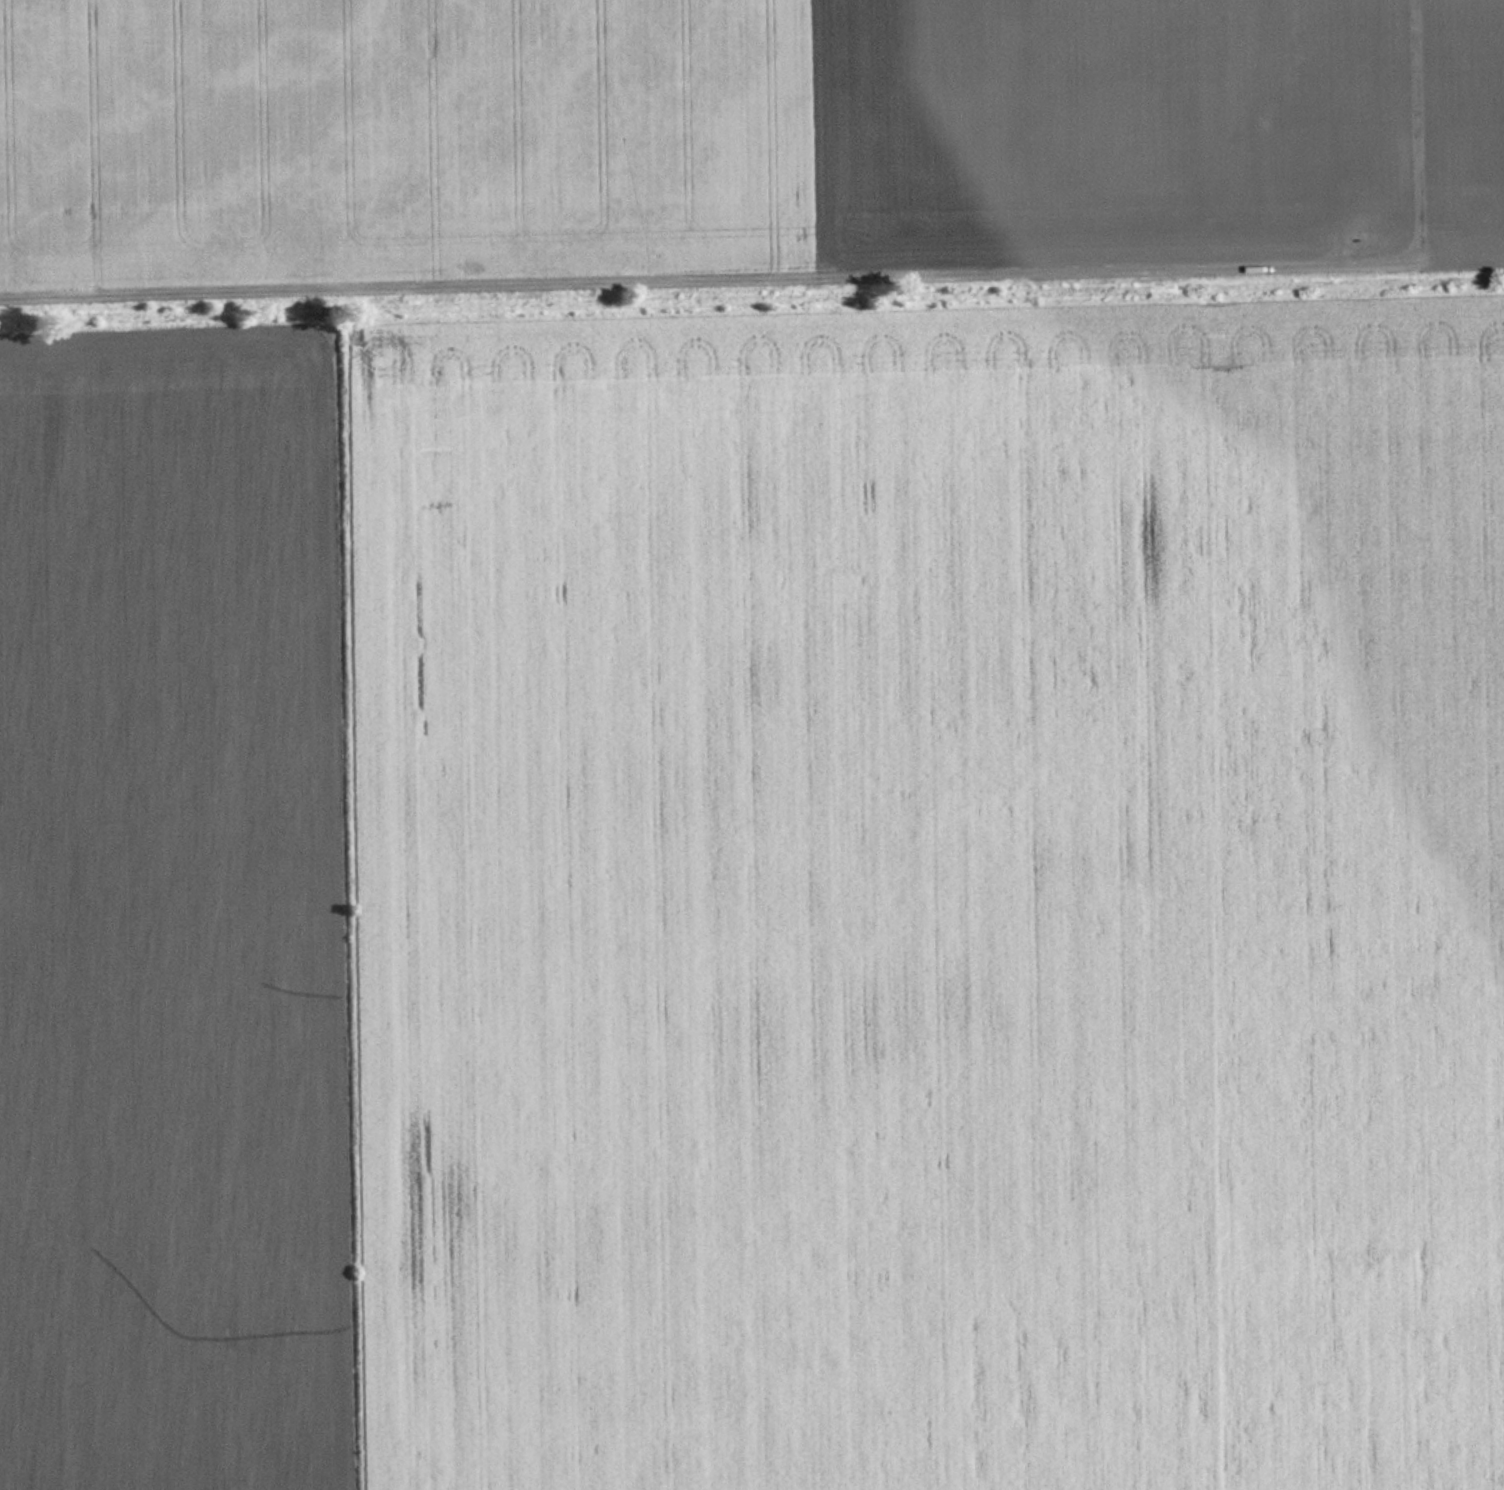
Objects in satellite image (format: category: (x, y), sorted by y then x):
road: (837, 269)

